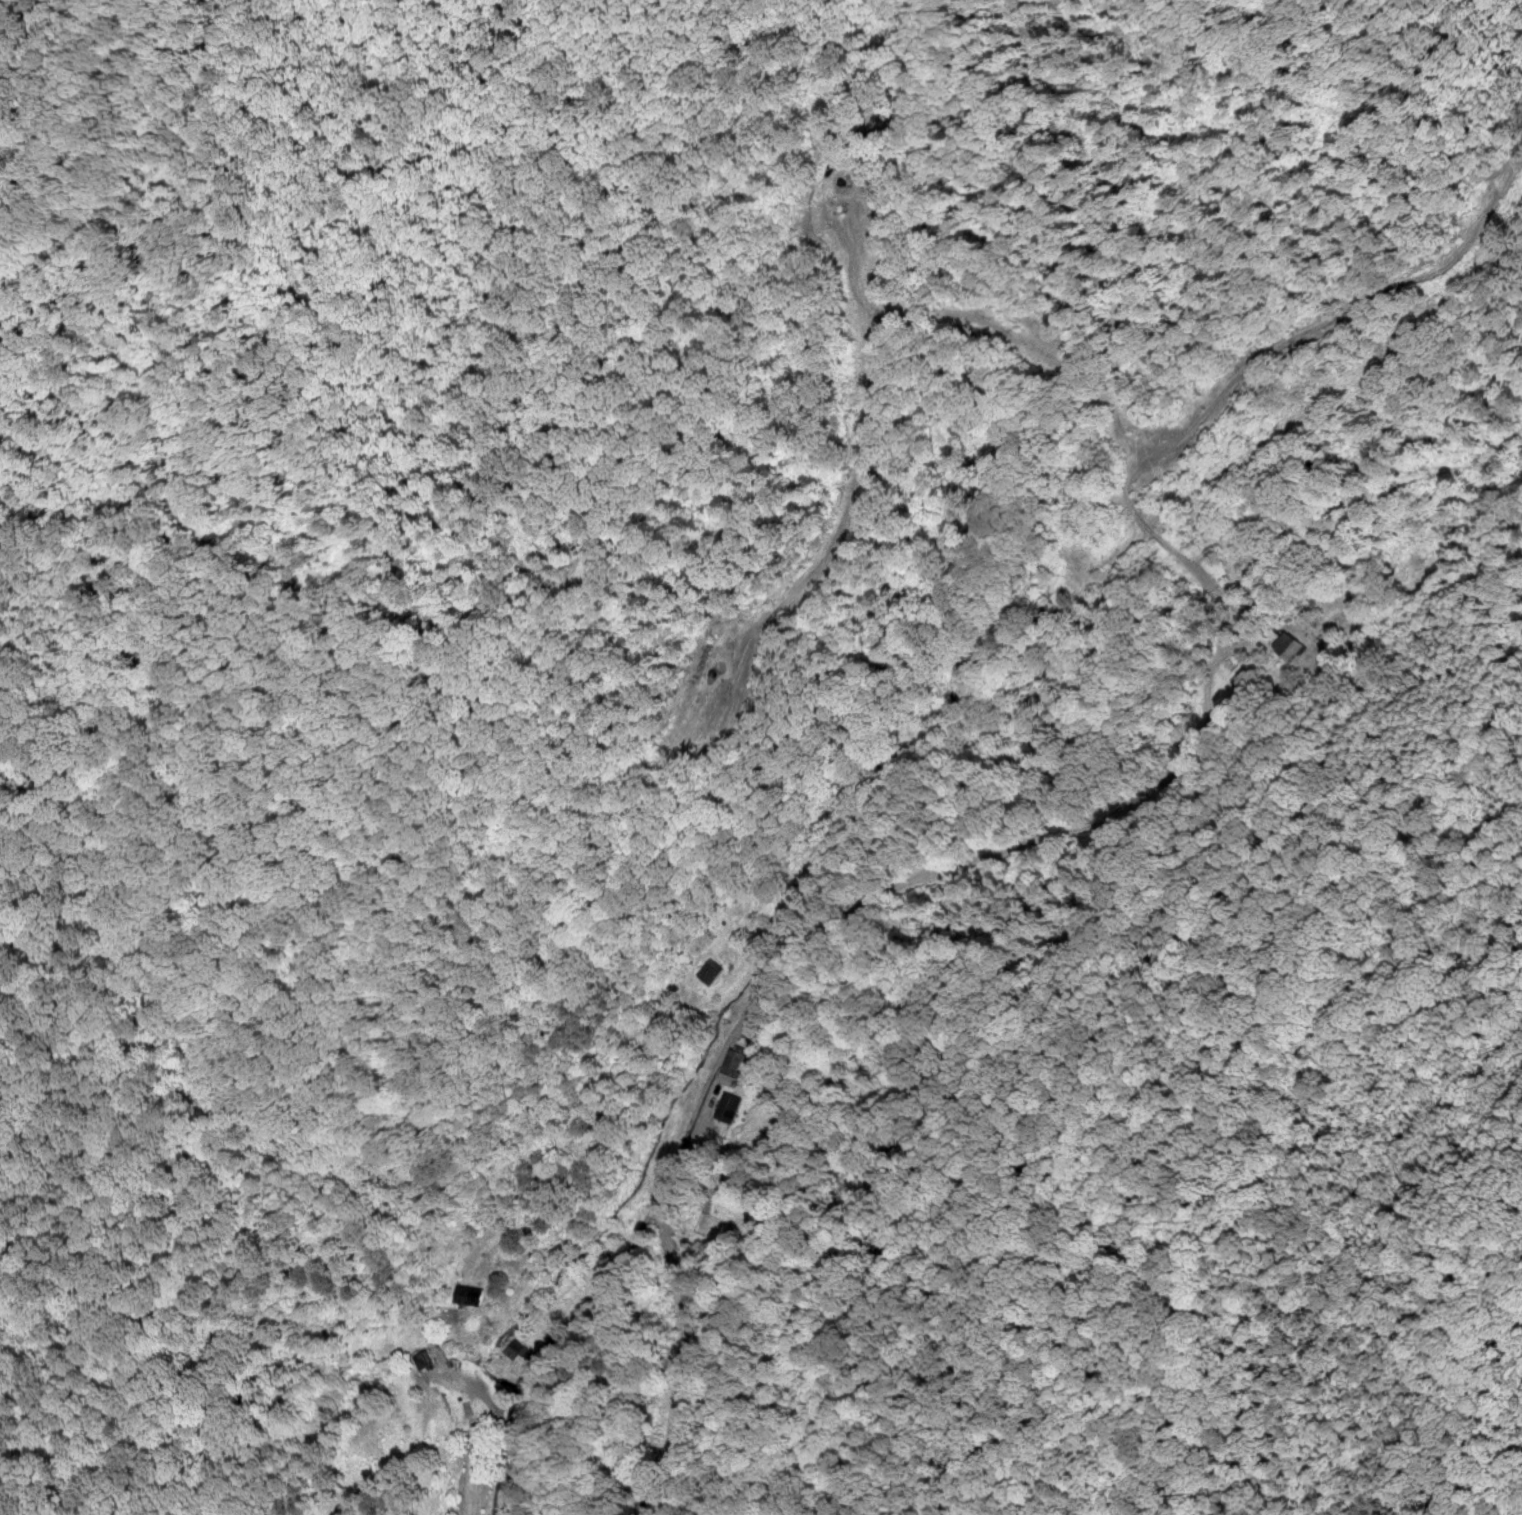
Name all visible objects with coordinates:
road: (1512, 173)
building: (1287, 645)
building: (709, 970)
road: (775, 985)
building: (727, 1107)
building: (468, 1294)

